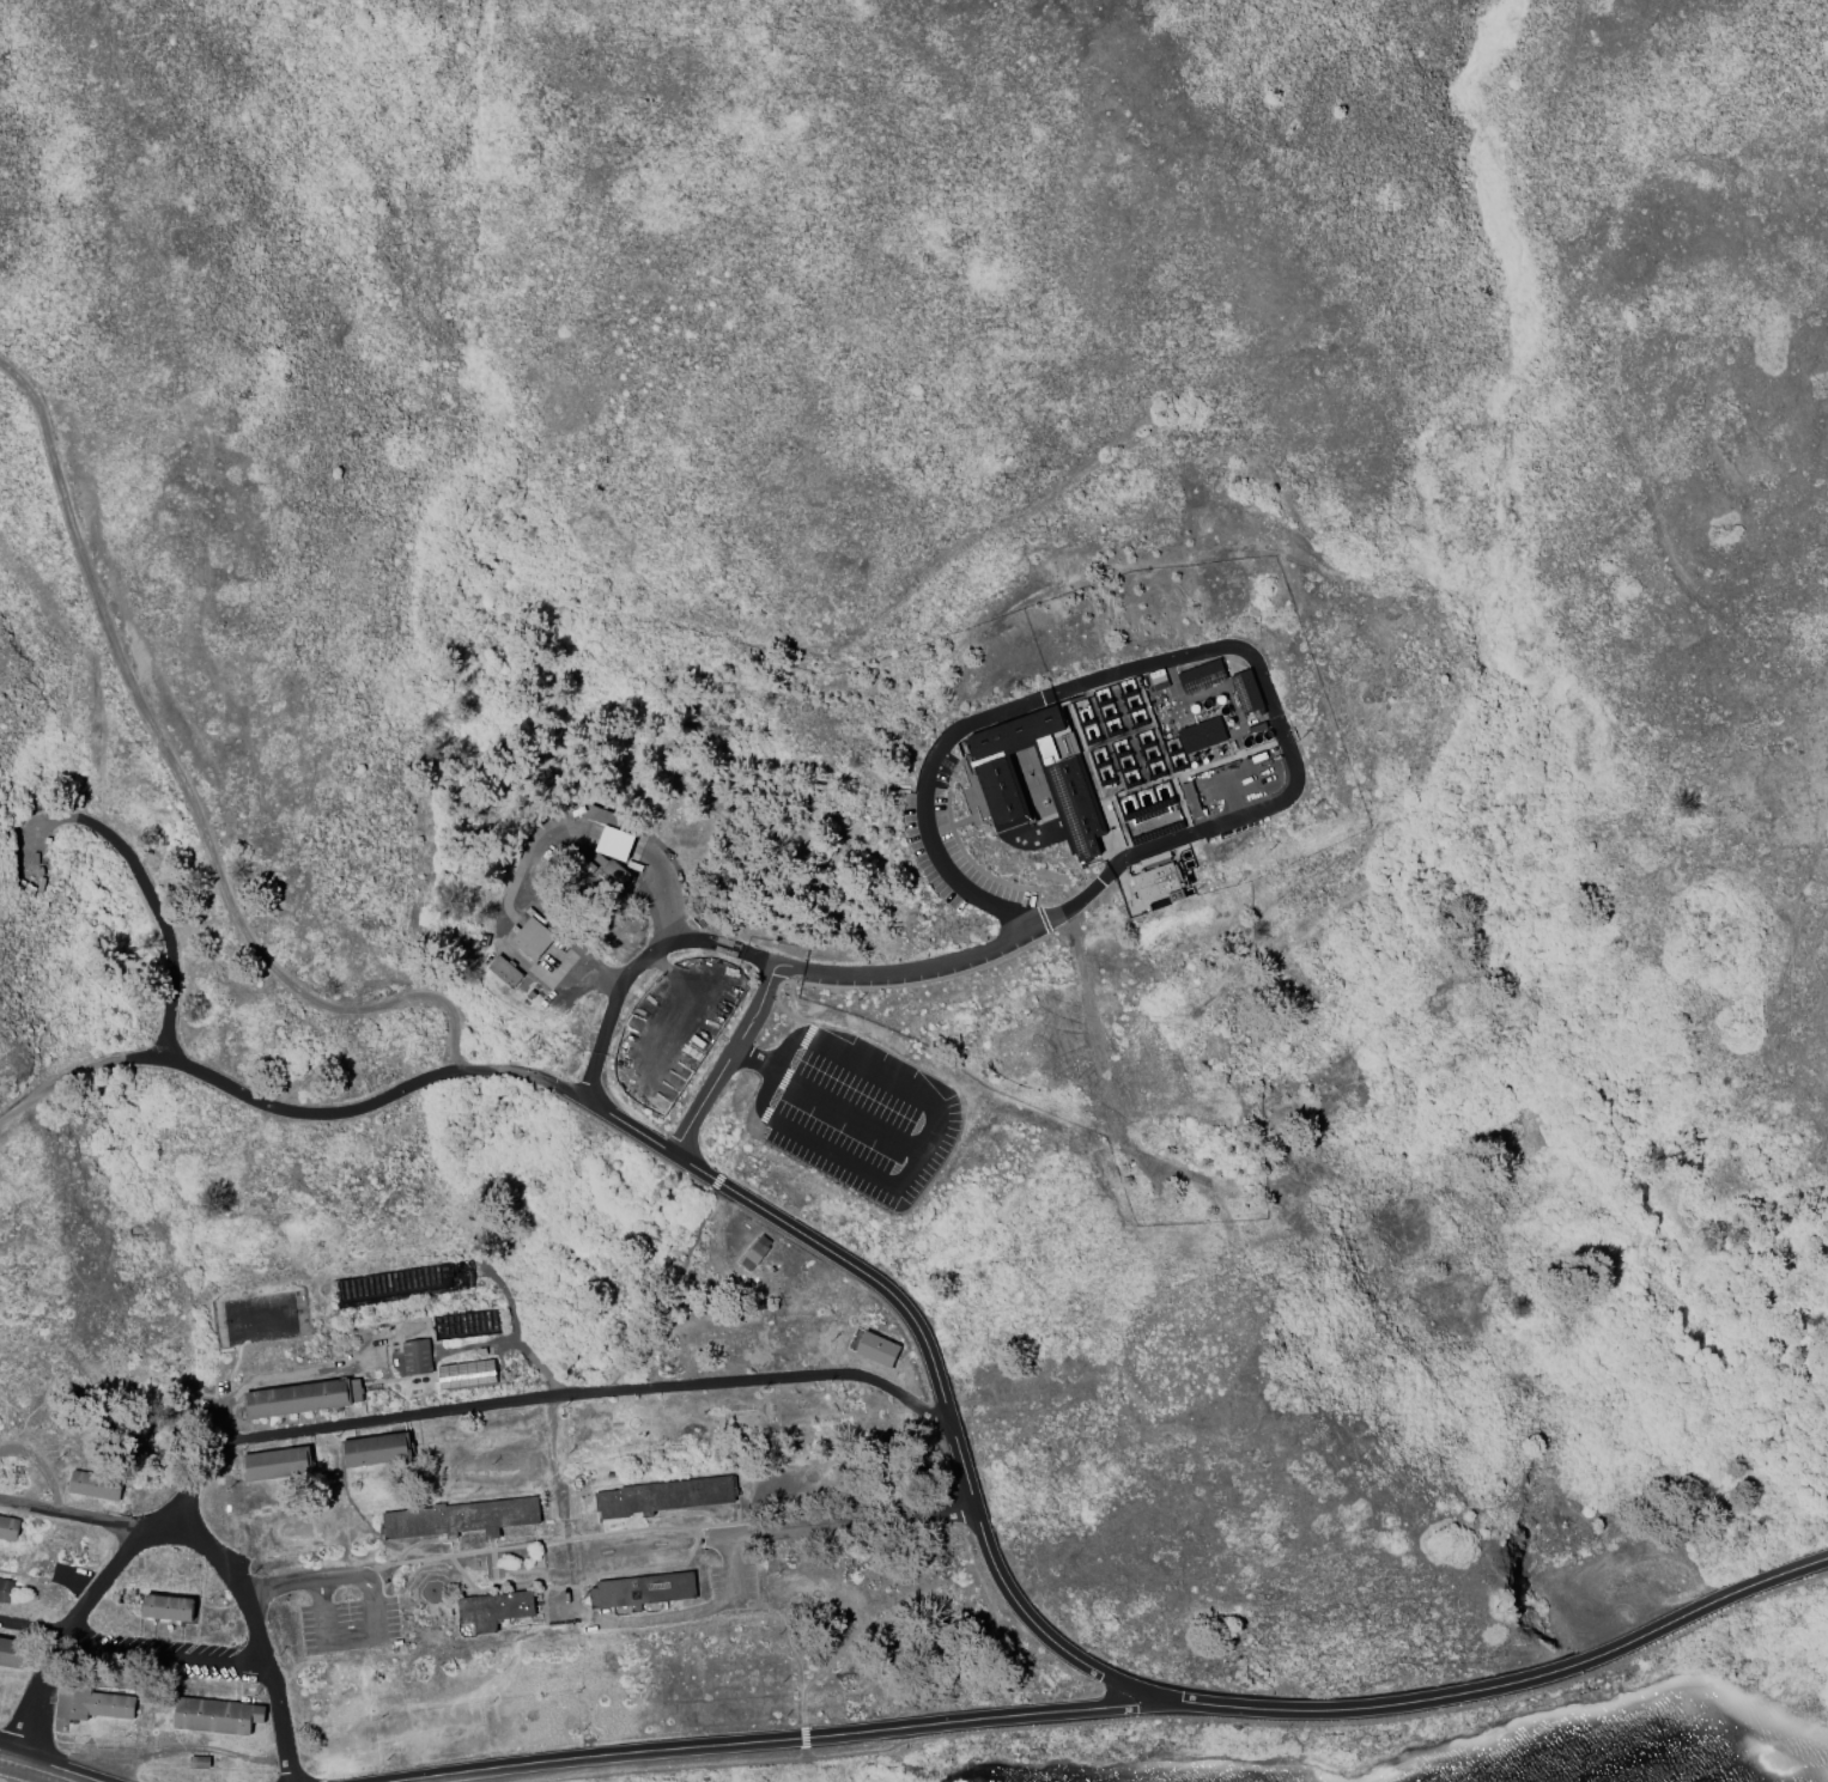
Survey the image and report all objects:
building: (1203, 679)
building: (1247, 694)
road: (1276, 719)
building: (1203, 736)
road: (184, 784)
building: (1071, 793)
road: (924, 799)
building: (609, 833)
parking lot: (949, 845)
road: (1110, 856)
building: (615, 877)
road: (145, 880)
building: (534, 938)
road: (723, 948)
building: (504, 971)
road: (638, 971)
road: (851, 978)
road: (59, 1081)
road: (830, 1100)
road: (348, 1112)
parking lot: (864, 1119)
building: (760, 1251)
building: (408, 1328)
road: (518, 1334)
road: (934, 1351)
building: (879, 1352)
building: (418, 1360)
building: (468, 1377)
road: (277, 1379)
road: (533, 1399)
building: (304, 1400)
building: (374, 1450)
building: (275, 1462)
building: (96, 1485)
building: (664, 1500)
road: (69, 1518)
building: (463, 1521)
road: (851, 1522)
building: (8, 1528)
road: (545, 1543)
road: (48, 1579)
road: (304, 1583)
building: (5, 1589)
building: (644, 1593)
building: (166, 1607)
building: (496, 1613)
road: (679, 1617)
parking lot: (348, 1626)
road: (31, 1629)
road: (61, 1635)
road: (260, 1637)
road: (351, 1641)
building: (8, 1652)
parking lot: (154, 1658)
road: (163, 1658)
road: (1508, 1687)
building: (90, 1703)
building: (217, 1715)
road: (1211, 1719)
road: (782, 1740)
road: (6, 1754)
building: (198, 1763)
road: (56, 1769)
parking lot: (24, 1774)
road: (4, 1778)
road: (4, 1781)
road: (10, 1781)

